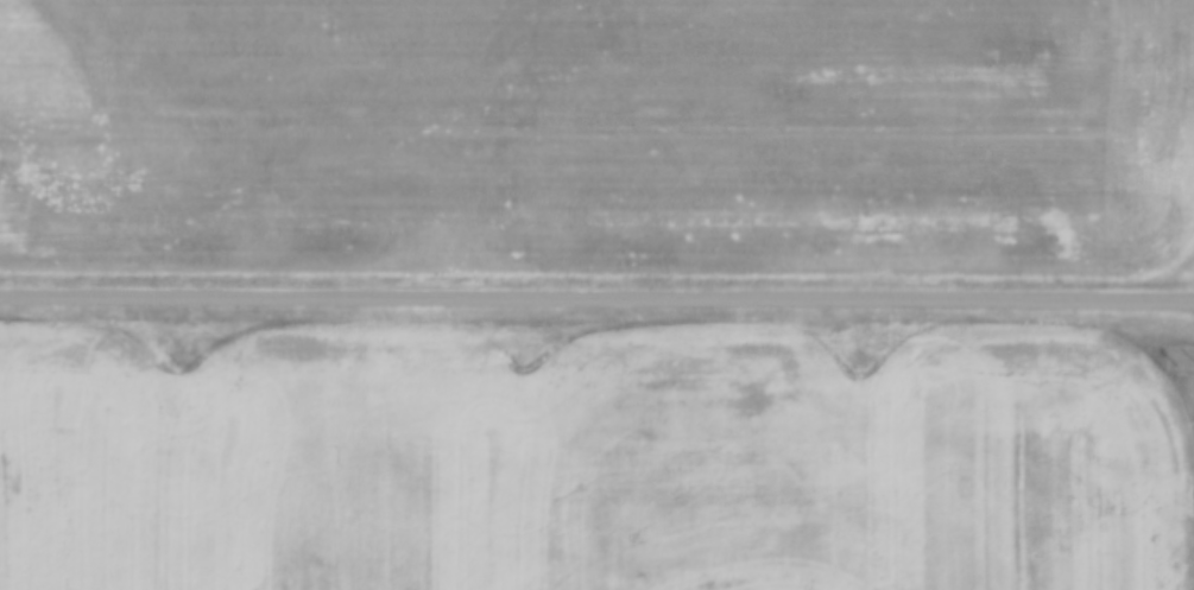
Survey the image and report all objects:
road: (596, 299)

